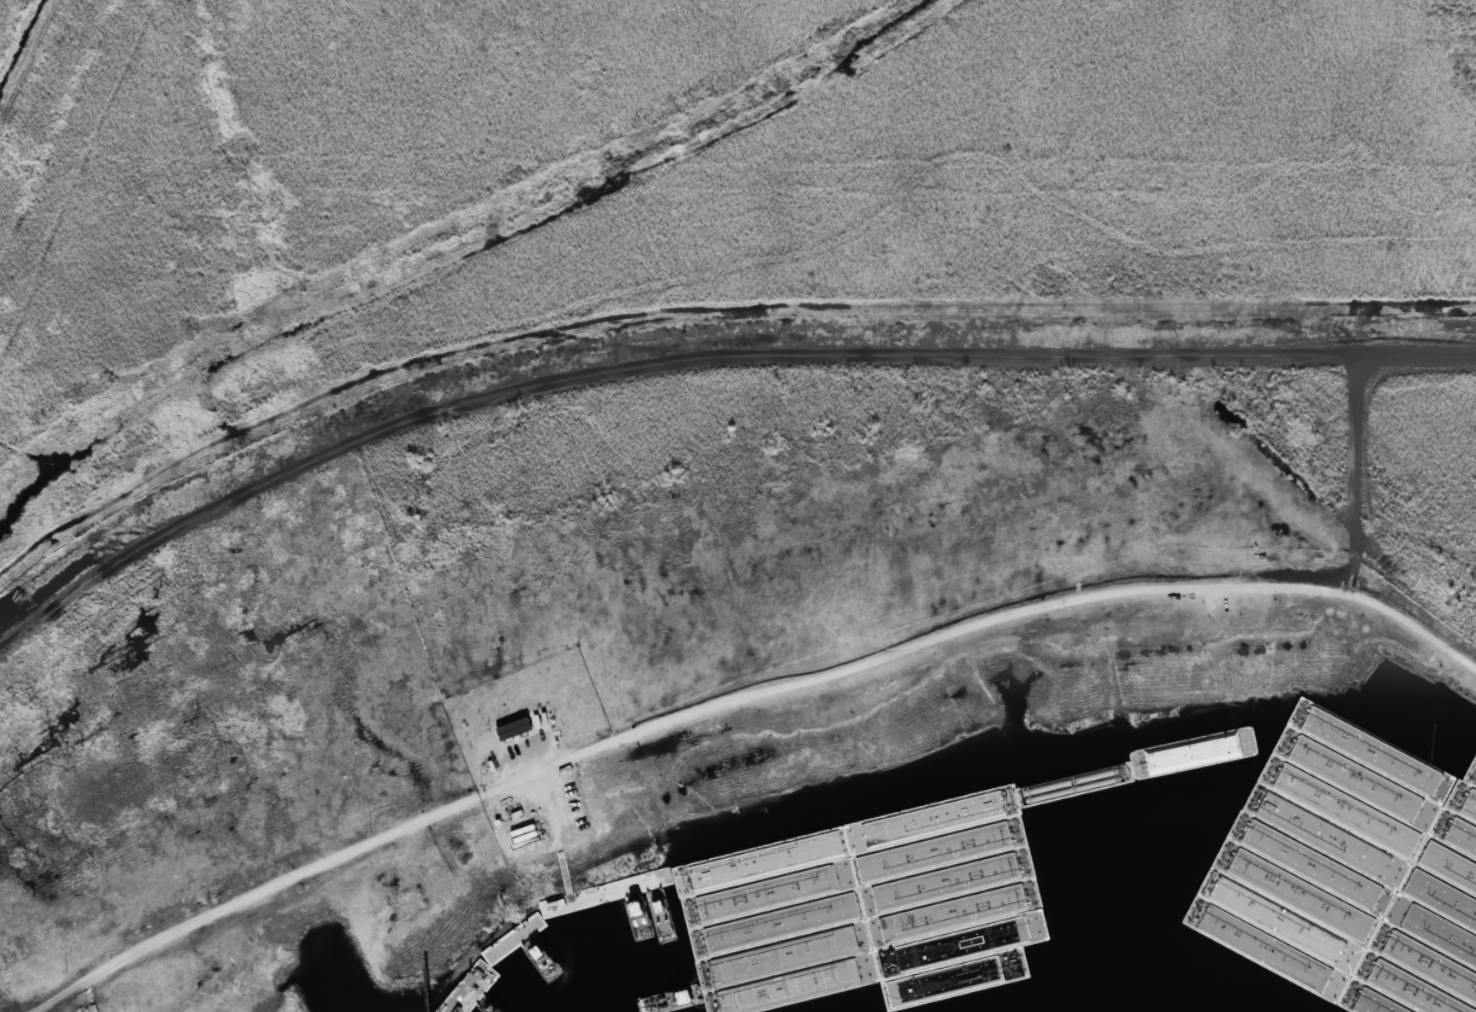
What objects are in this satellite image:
road: (739, 699)
building: (513, 729)
building: (1031, 844)

